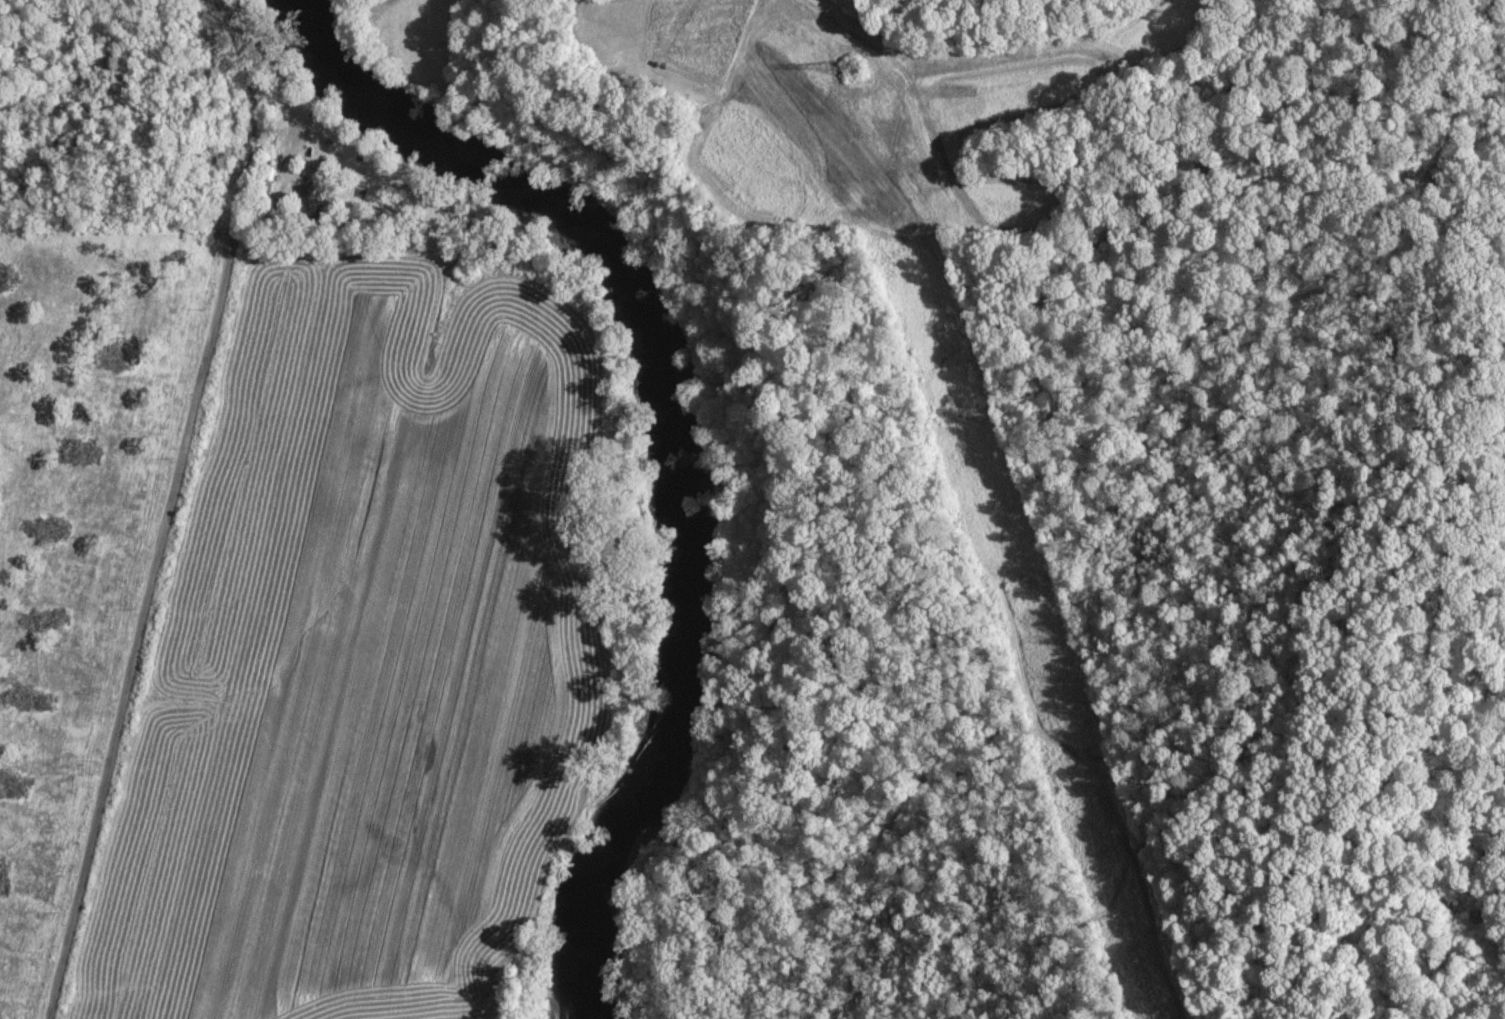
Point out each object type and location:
road: (186, 10)
power tower: (834, 76)
road: (163, 508)
road: (100, 996)
power tower: (1152, 1002)

